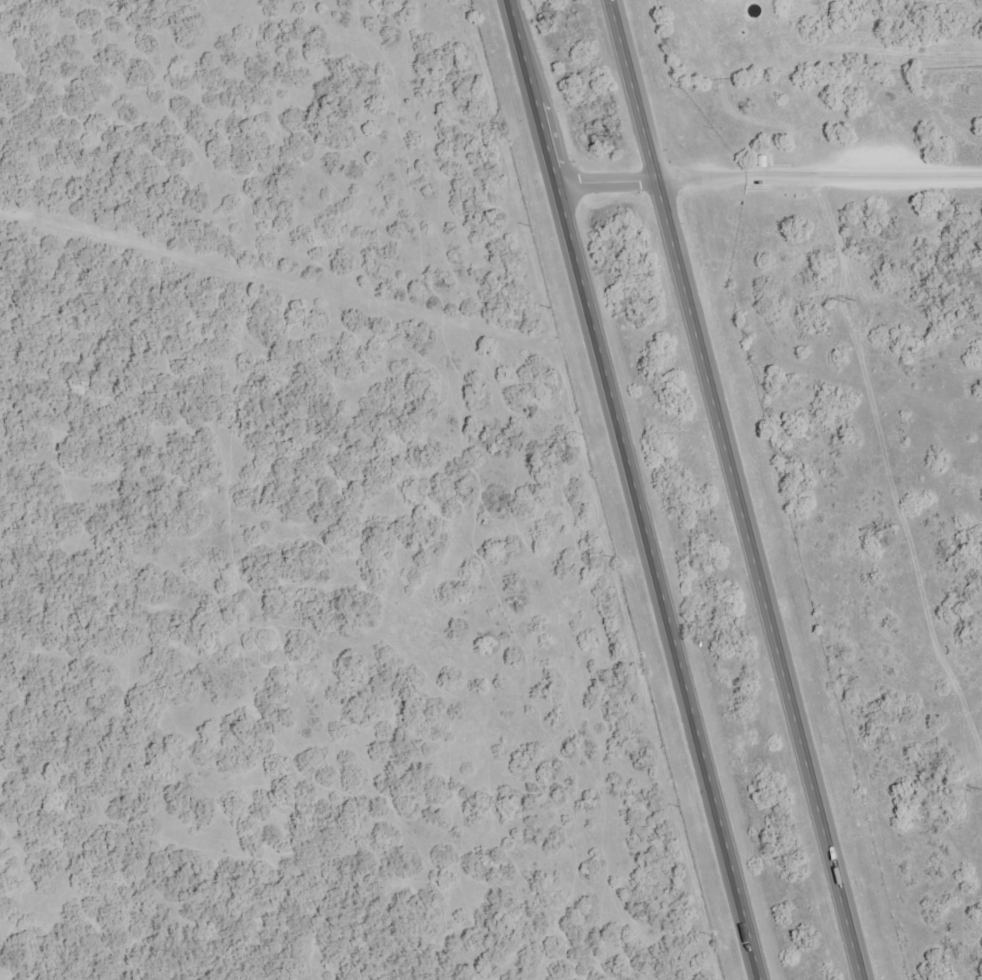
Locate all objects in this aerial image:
road: (770, 180)
road: (684, 282)
road: (589, 295)
power tower: (851, 300)
road: (813, 771)
road: (717, 785)
power tower: (978, 790)

